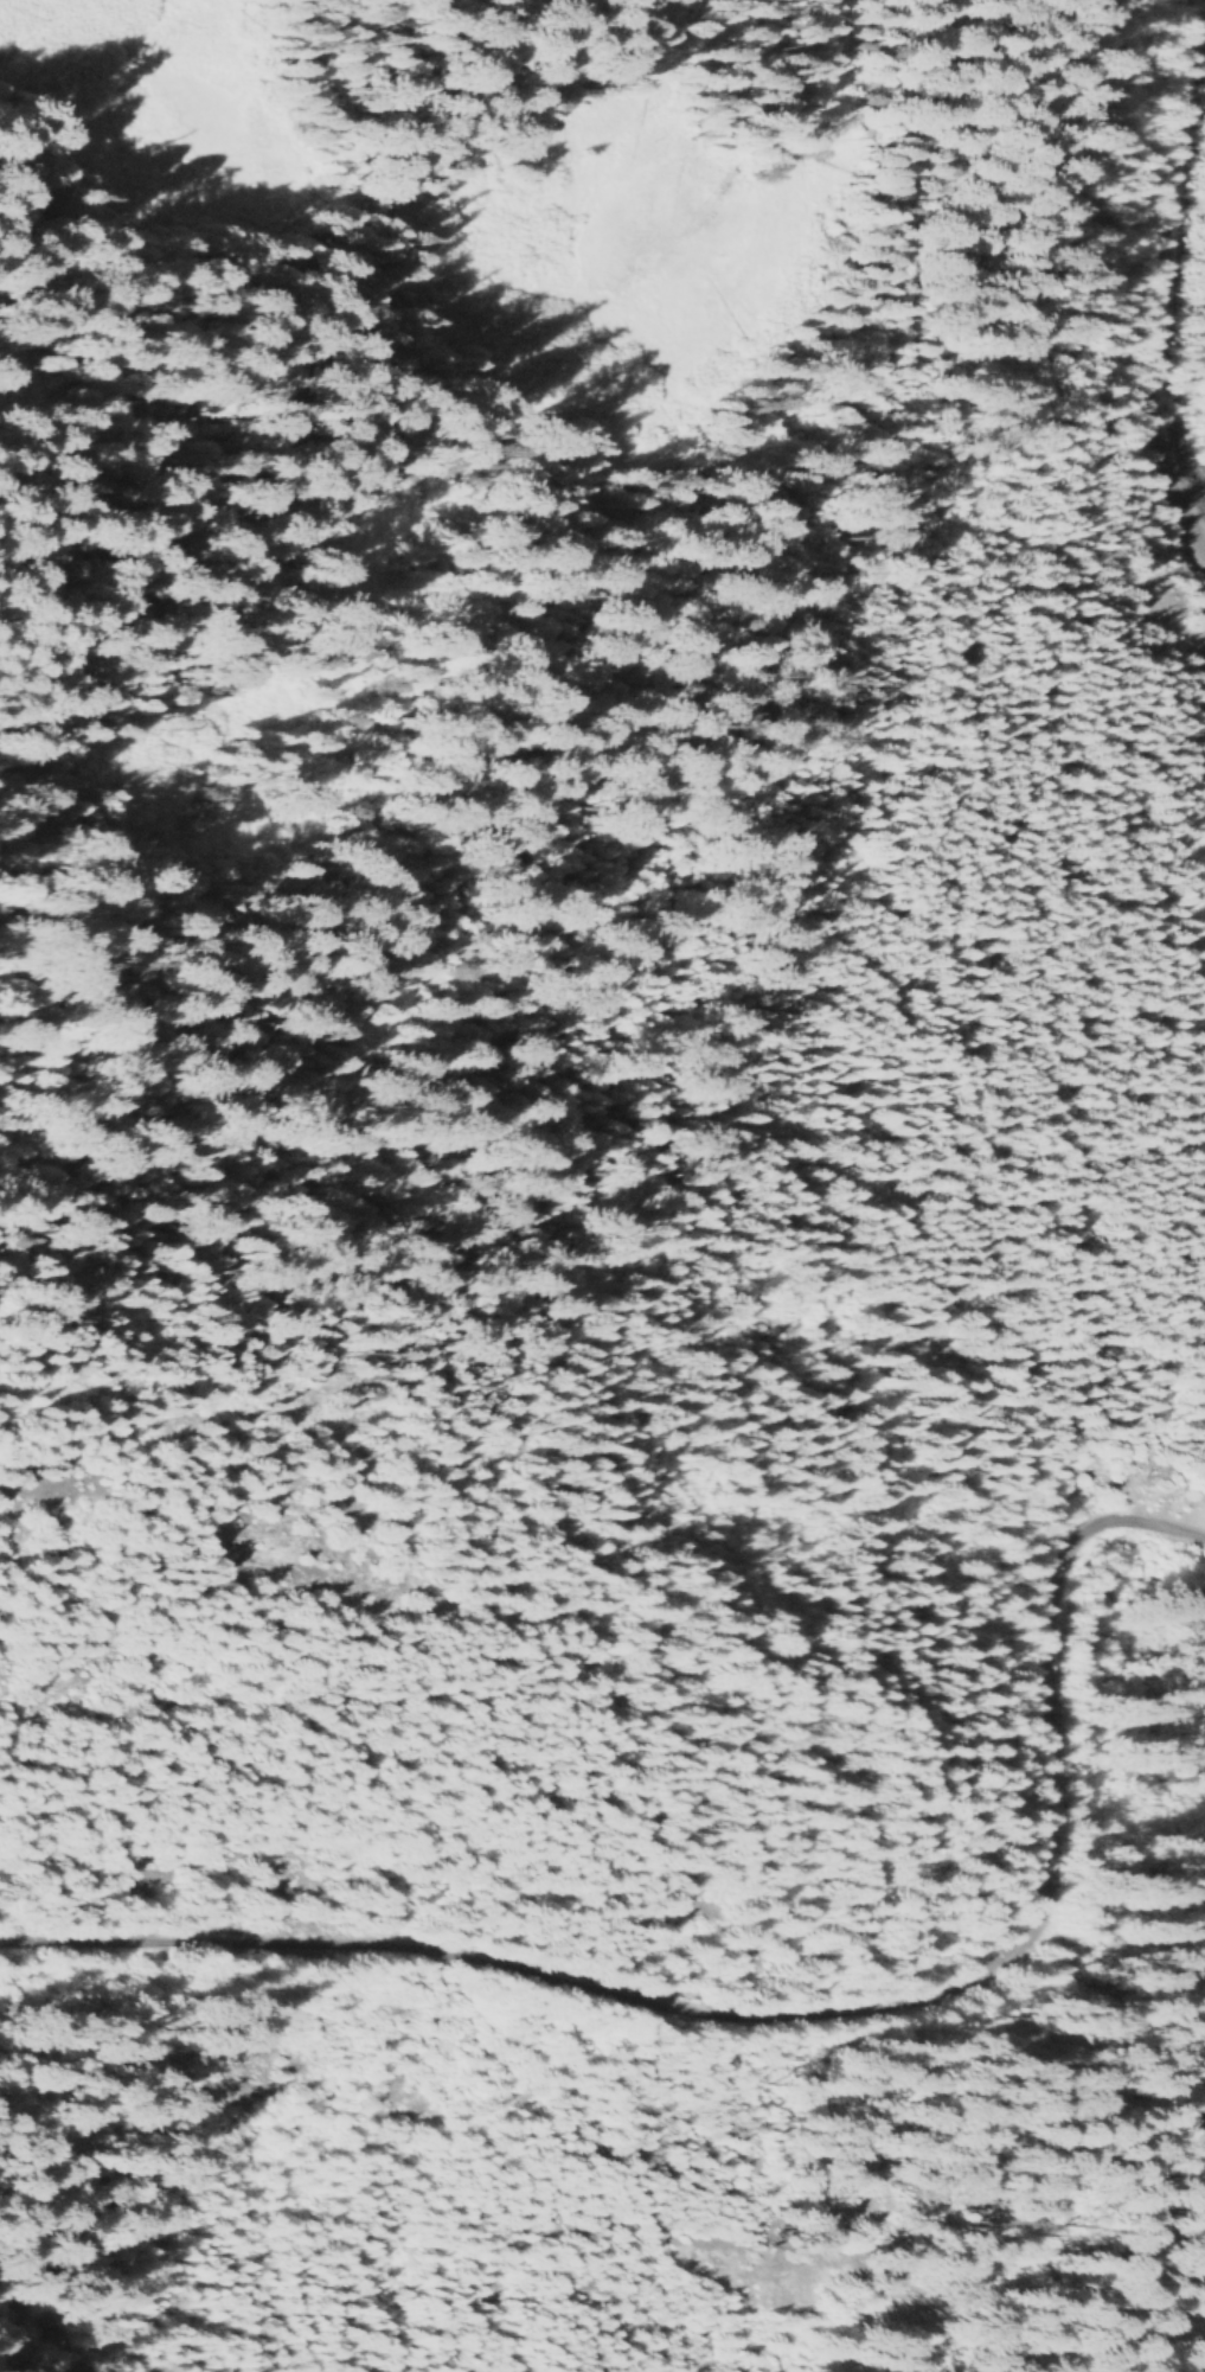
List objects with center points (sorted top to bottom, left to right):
road: (1148, 287)
road: (784, 2022)

